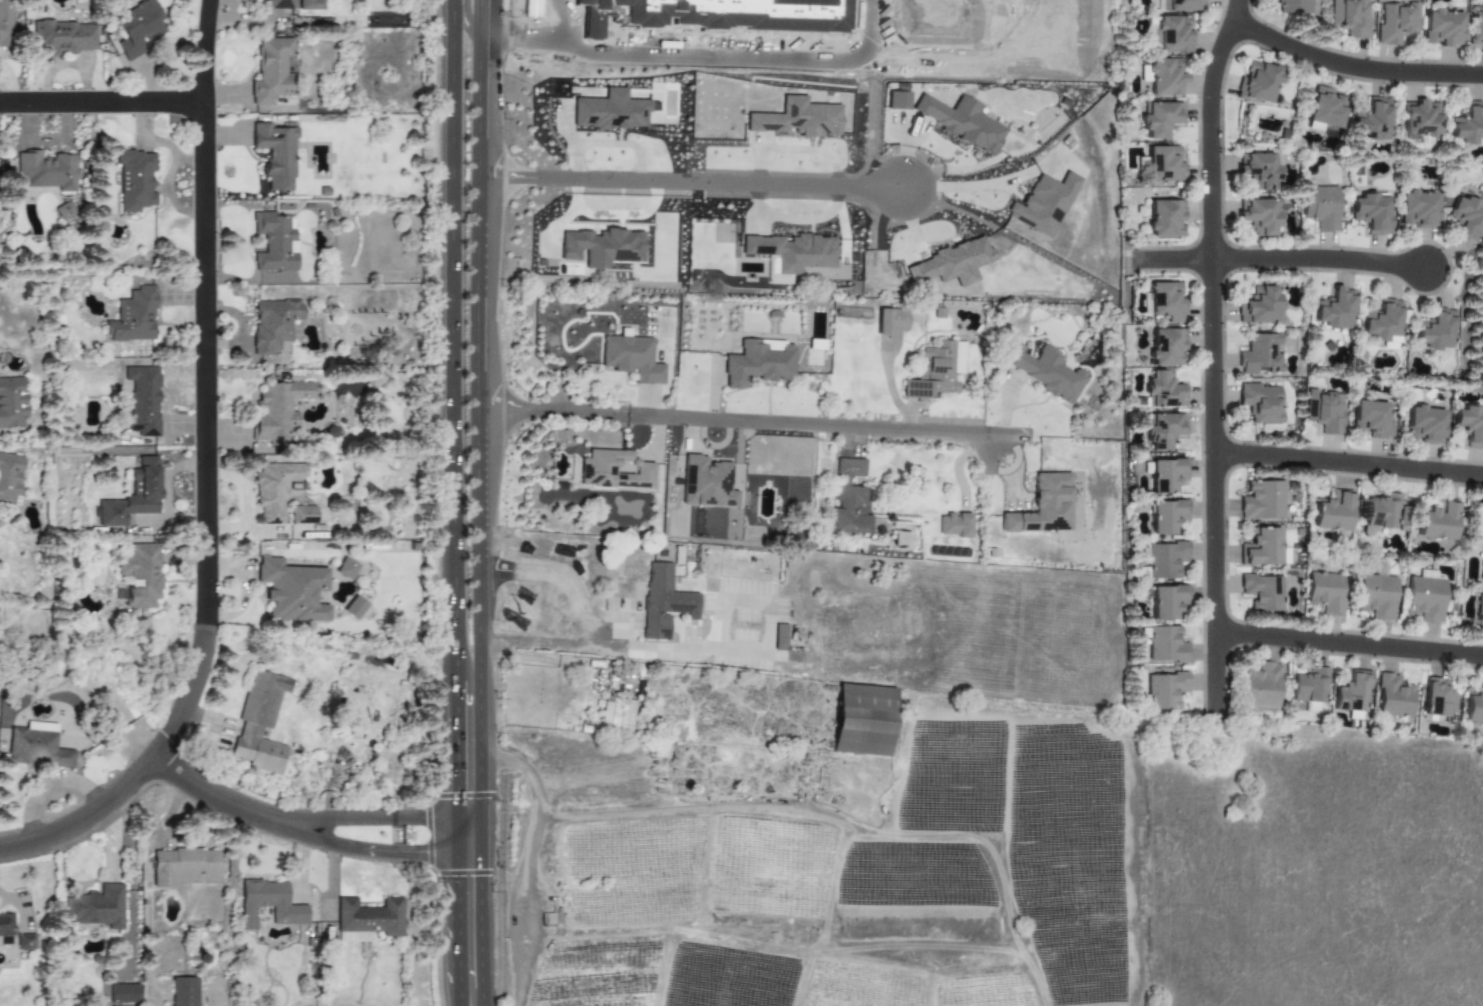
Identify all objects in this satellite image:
building: (293, 4)
building: (1182, 6)
building: (1292, 6)
road: (1237, 13)
building: (1350, 17)
road: (464, 18)
road: (568, 21)
building: (1395, 21)
building: (5, 22)
building: (139, 27)
building: (1441, 27)
building: (1475, 27)
building: (1173, 34)
building: (64, 38)
road: (525, 45)
road: (750, 66)
road: (1355, 68)
building: (271, 70)
building: (1163, 77)
building: (1257, 82)
building: (897, 100)
road: (102, 102)
building: (1325, 109)
building: (610, 111)
building: (1372, 118)
building: (797, 119)
building: (1421, 119)
building: (1161, 120)
building: (962, 122)
building: (1468, 124)
building: (275, 153)
building: (1165, 163)
building: (46, 170)
building: (1259, 171)
building: (135, 179)
road: (690, 182)
road: (968, 186)
building: (1043, 204)
building: (1320, 207)
building: (1417, 209)
building: (1371, 211)
building: (1260, 217)
building: (1164, 218)
building: (1467, 218)
building: (275, 242)
building: (603, 248)
building: (791, 254)
road: (1175, 258)
road: (1320, 259)
building: (951, 263)
building: (1166, 301)
building: (1261, 307)
building: (1335, 309)
road: (205, 312)
building: (134, 316)
building: (892, 322)
building: (1384, 322)
building: (273, 323)
road: (452, 325)
road: (476, 326)
building: (1437, 331)
building: (1165, 345)
building: (1261, 354)
building: (632, 358)
building: (758, 363)
building: (931, 372)
building: (1044, 372)
road: (1216, 372)
building: (1162, 389)
road: (558, 393)
building: (143, 399)
building: (12, 402)
building: (1262, 402)
road: (620, 410)
building: (1325, 410)
road: (541, 411)
road: (620, 419)
building: (1371, 421)
building: (1424, 424)
building: (1469, 425)
road: (832, 426)
building: (1163, 430)
road: (988, 454)
road: (1350, 466)
building: (615, 471)
building: (1162, 473)
building: (10, 476)
building: (706, 483)
building: (275, 489)
building: (133, 495)
building: (850, 499)
building: (1262, 500)
building: (1043, 505)
building: (1381, 510)
building: (1332, 512)
building: (303, 515)
building: (1164, 516)
building: (1437, 522)
building: (954, 525)
building: (1262, 546)
building: (1164, 559)
building: (346, 569)
building: (1482, 571)
building: (139, 576)
building: (291, 590)
building: (1262, 591)
building: (1326, 592)
building: (1377, 593)
building: (1426, 599)
building: (663, 600)
building: (1167, 601)
building: (354, 607)
building: (1479, 612)
road: (621, 628)
building: (780, 637)
building: (1164, 644)
road: (600, 647)
road: (1350, 647)
building: (1310, 685)
building: (1260, 688)
building: (1163, 689)
building: (1352, 692)
road: (190, 694)
building: (1391, 697)
building: (1438, 700)
building: (1311, 708)
building: (1473, 708)
building: (617, 714)
building: (863, 720)
road: (457, 722)
building: (41, 726)
road: (479, 743)
building: (39, 751)
building: (261, 755)
traffic signals: (458, 787)
road: (236, 806)
road: (678, 811)
road: (328, 812)
road: (86, 817)
road: (403, 817)
road: (162, 826)
road: (458, 834)
road: (401, 855)
traffic signals: (422, 855)
road: (531, 856)
road: (304, 864)
building: (185, 872)
traffic signals: (479, 881)
road: (331, 894)
building: (101, 910)
road: (479, 911)
building: (273, 912)
road: (458, 920)
building: (373, 923)
building: (5, 929)
road: (543, 930)
building: (25, 942)
road: (459, 986)
building: (189, 994)
building: (128, 995)
road: (482, 997)

